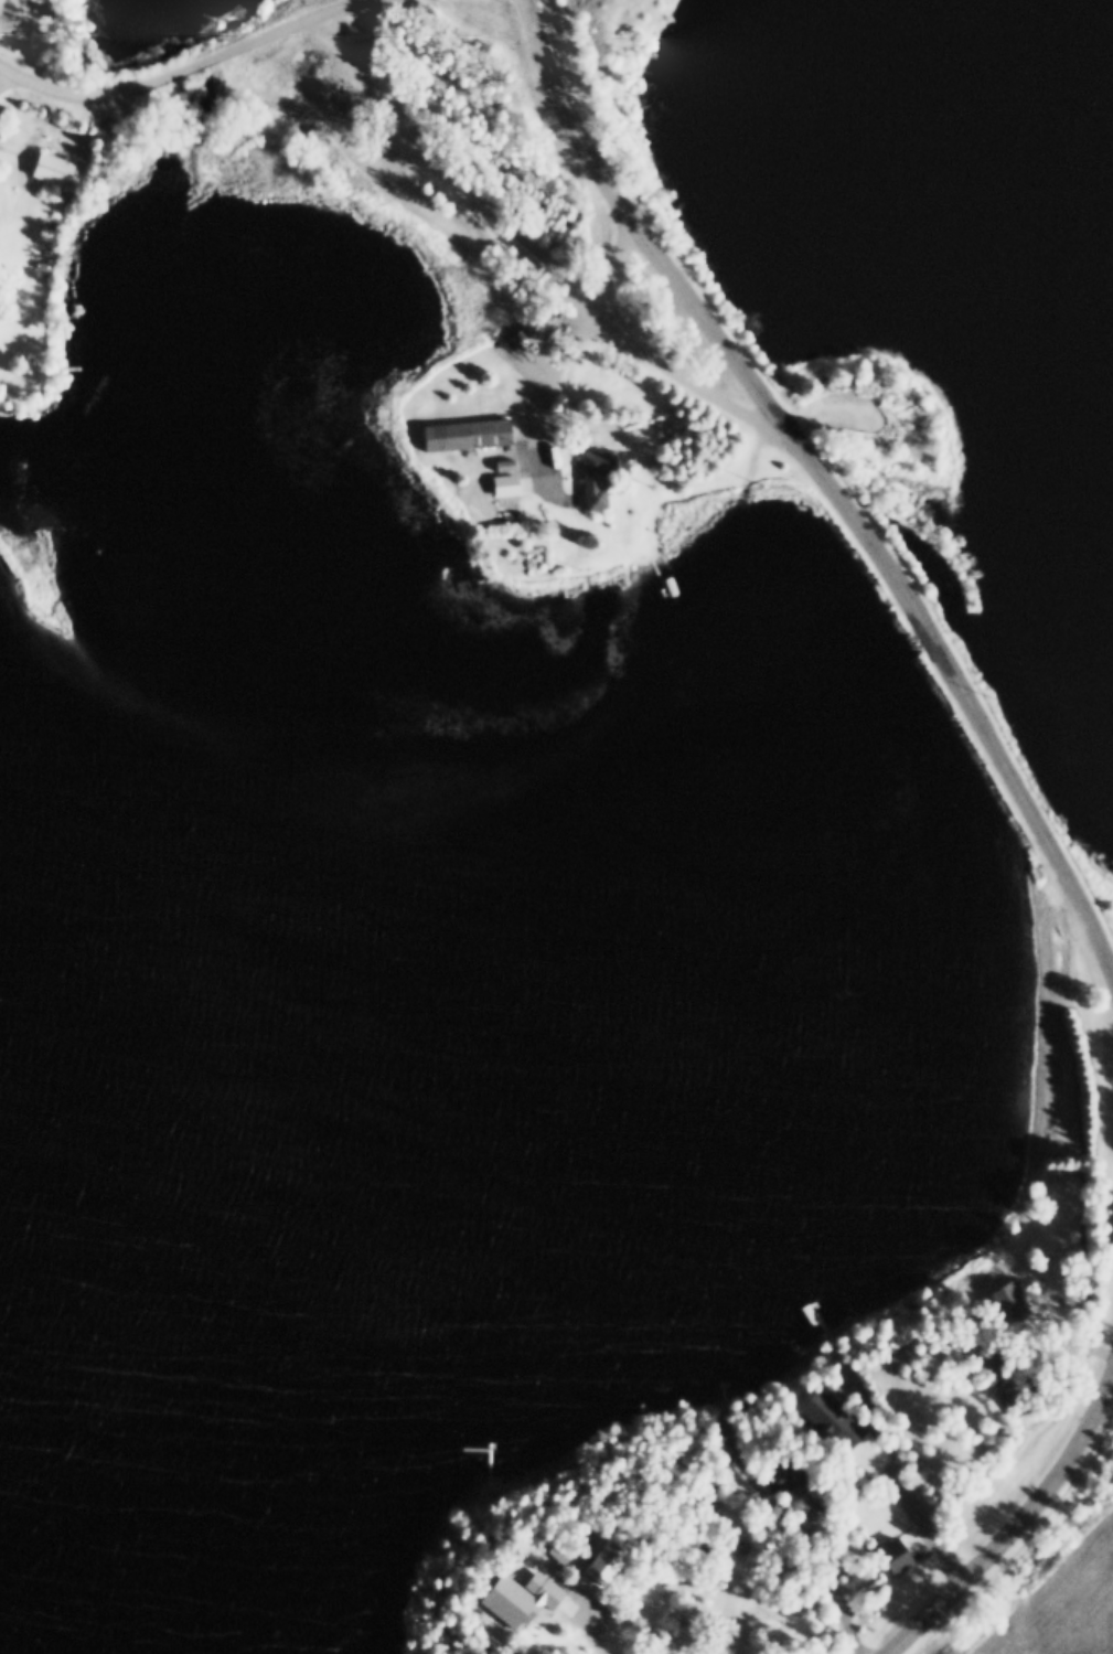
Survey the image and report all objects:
road: (1, 68)
road: (186, 72)
building: (47, 164)
road: (534, 267)
road: (616, 271)
building: (822, 377)
silo: (822, 377)
building: (835, 377)
silo: (835, 377)
building: (848, 378)
silo: (848, 378)
road: (544, 399)
building: (461, 430)
building: (590, 474)
road: (825, 478)
building: (499, 480)
building: (1009, 1295)
building: (1015, 1396)
building: (831, 1416)
building: (789, 1470)
road: (793, 1522)
road: (1019, 1534)
building: (897, 1550)
building: (513, 1593)
road: (578, 1625)

